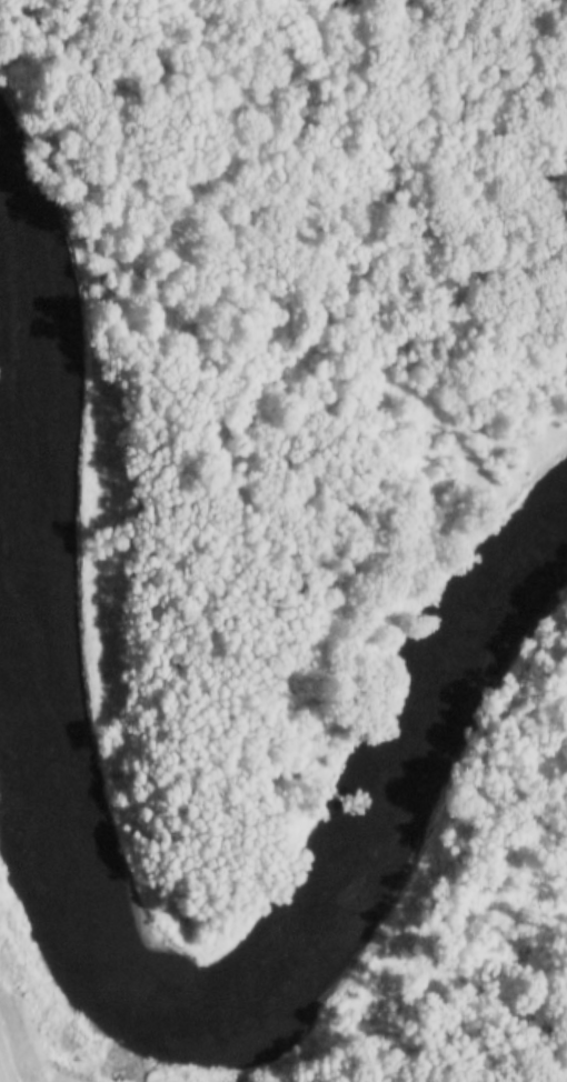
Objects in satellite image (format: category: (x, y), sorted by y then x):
river: (107, 955)

